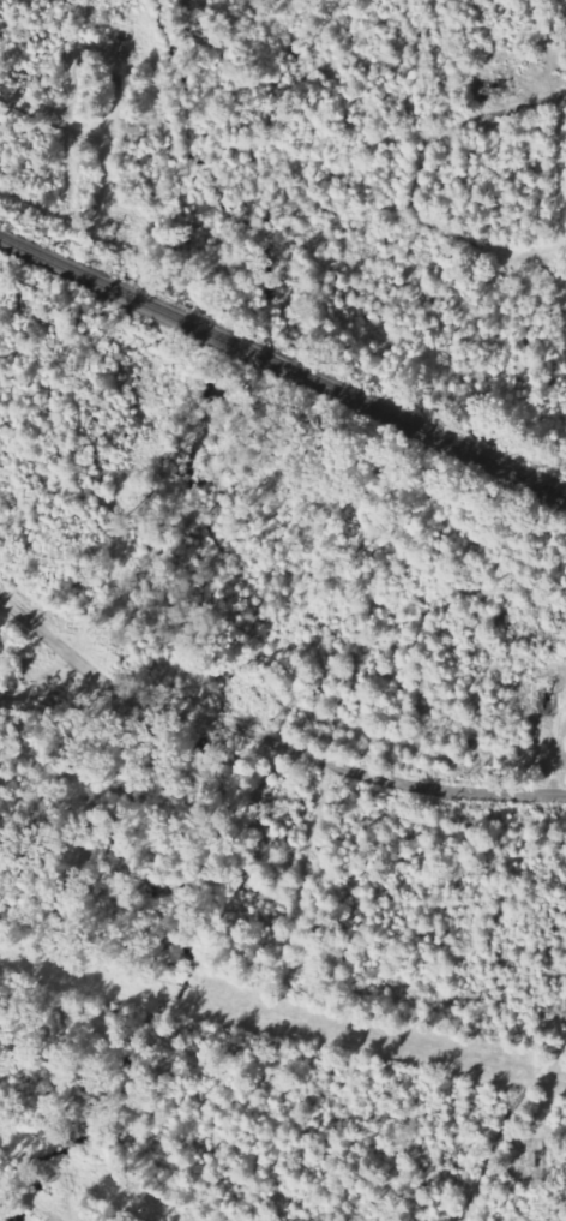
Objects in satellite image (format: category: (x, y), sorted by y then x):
railway: (283, 367)
road: (265, 738)
road: (30, 1198)

